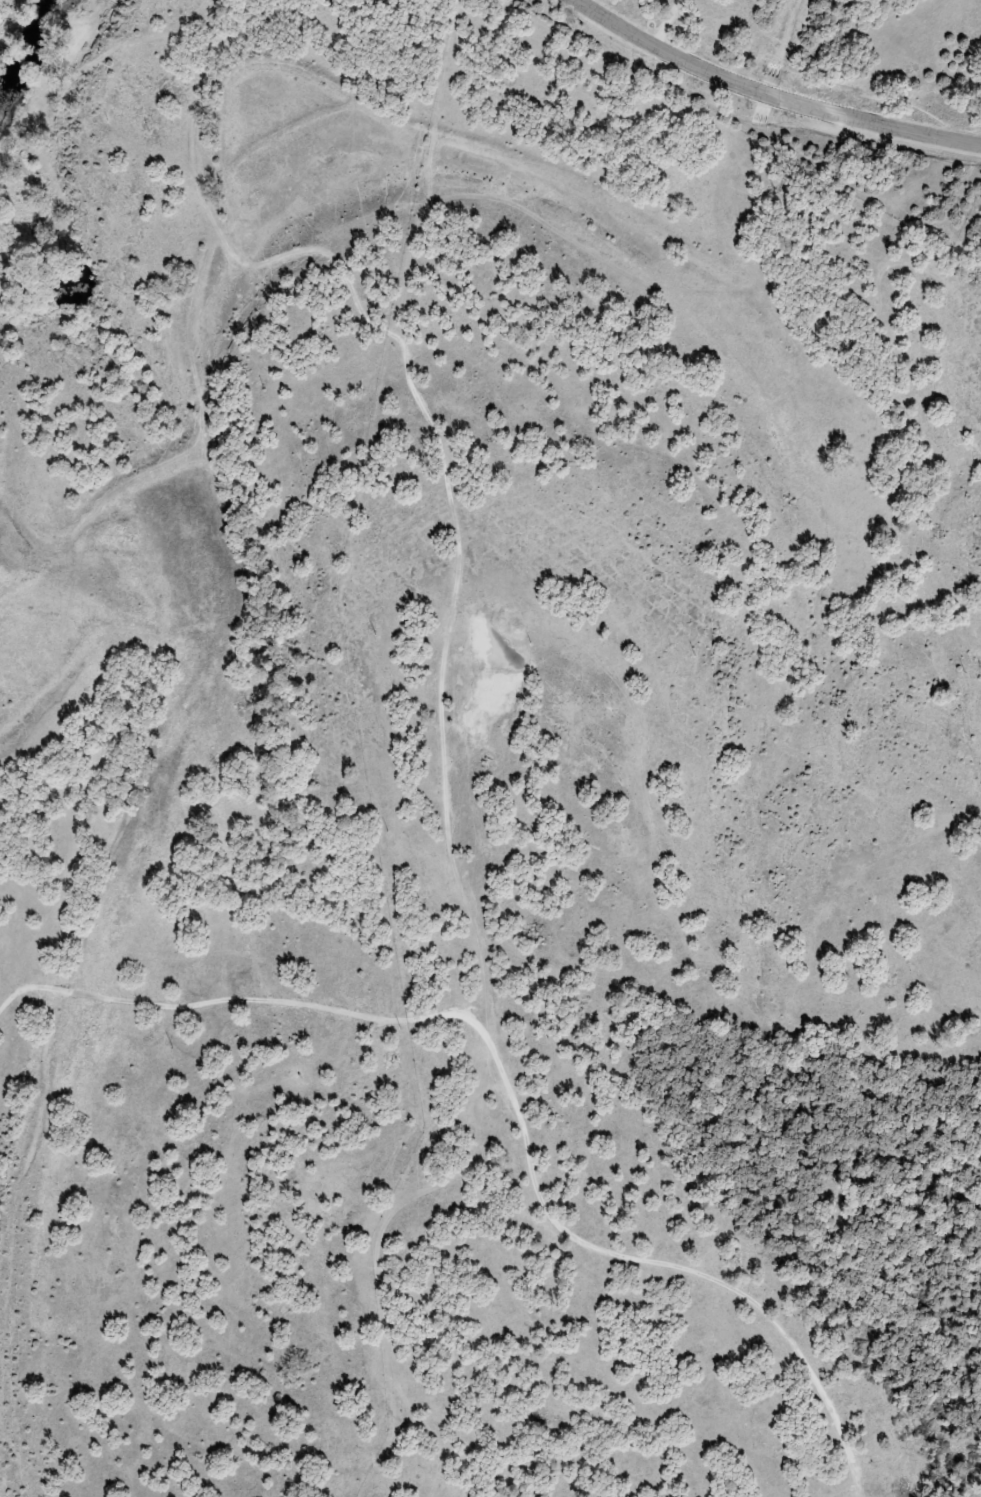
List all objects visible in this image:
road: (660, 22)
road: (766, 96)

